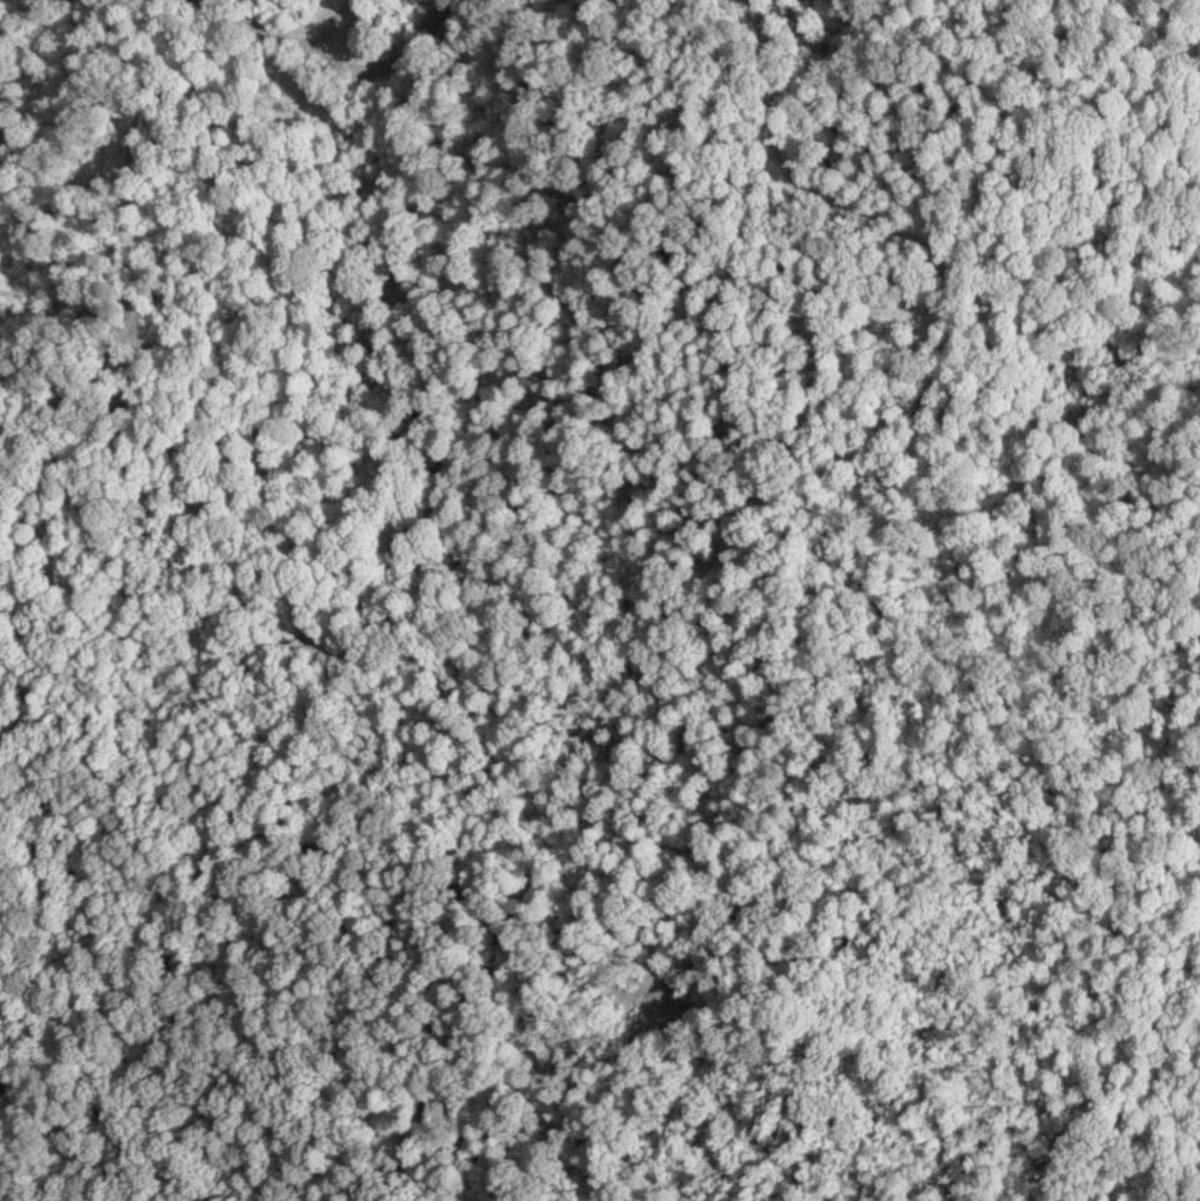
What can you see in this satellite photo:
road: (2, 2)
road: (307, 12)
road: (326, 40)

